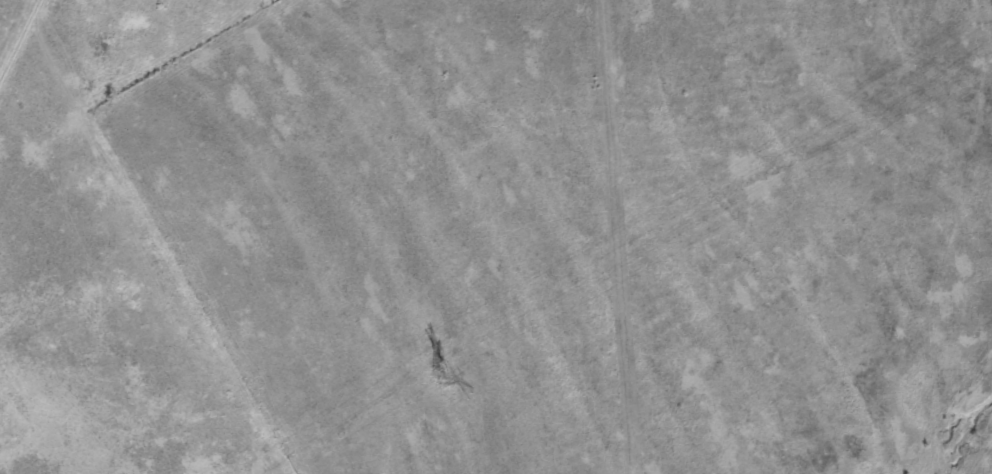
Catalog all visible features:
power tower: (439, 381)

